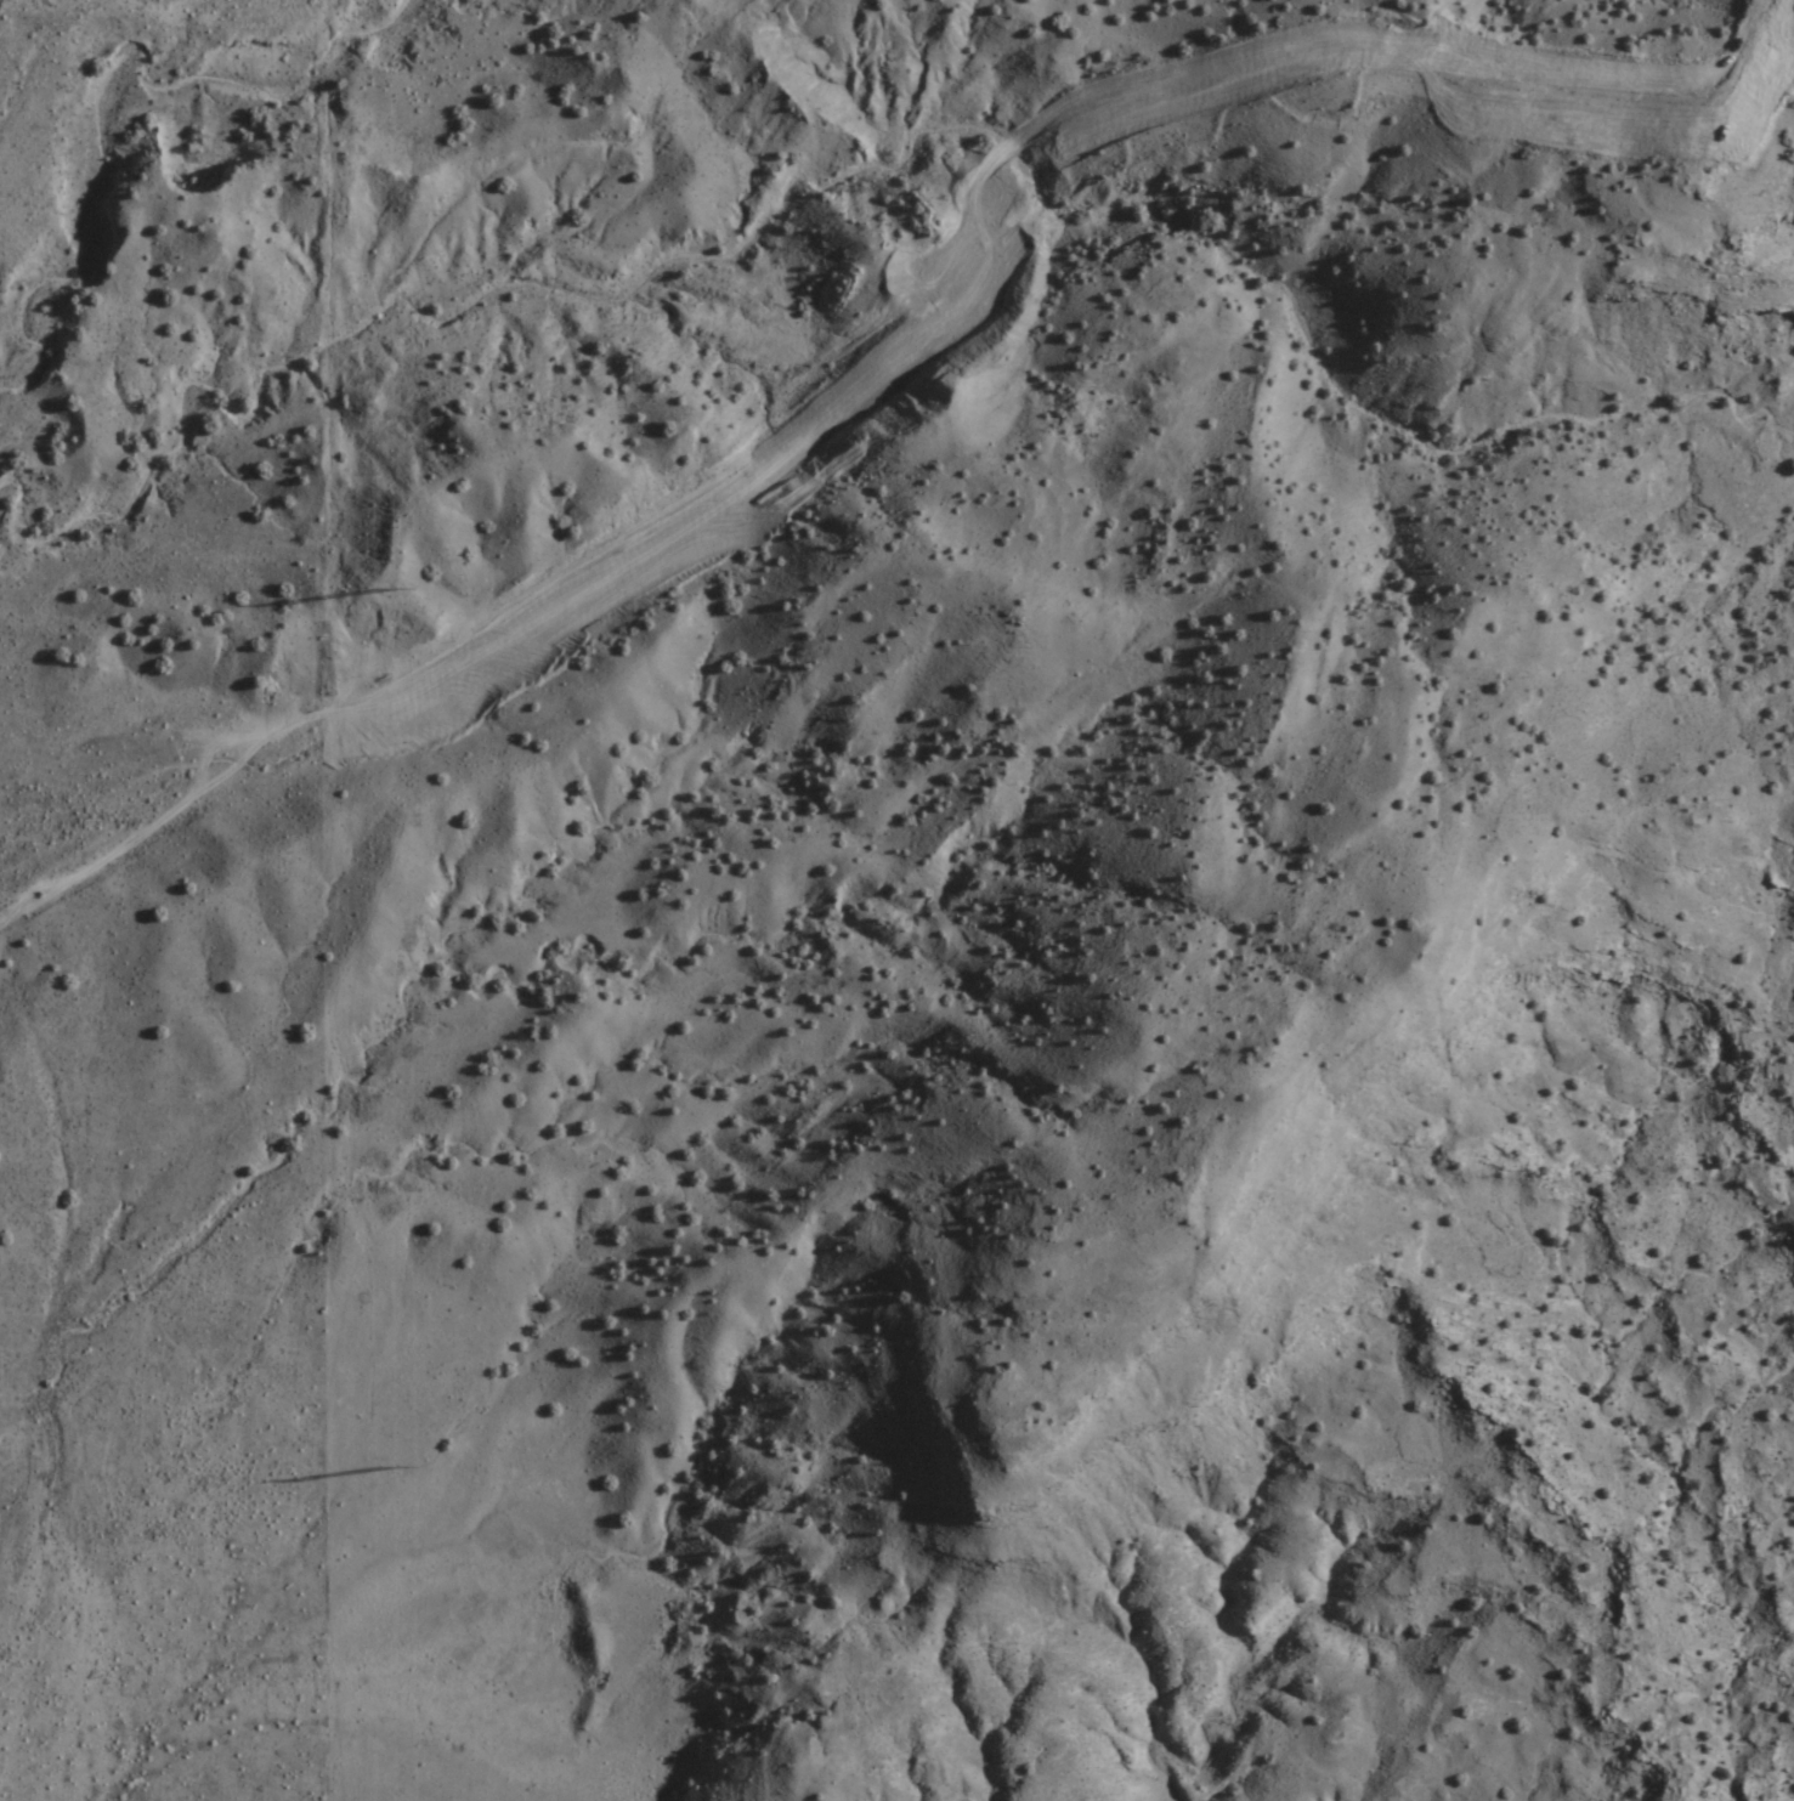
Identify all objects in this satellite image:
power tower: (408, 590)
power tower: (414, 1469)

